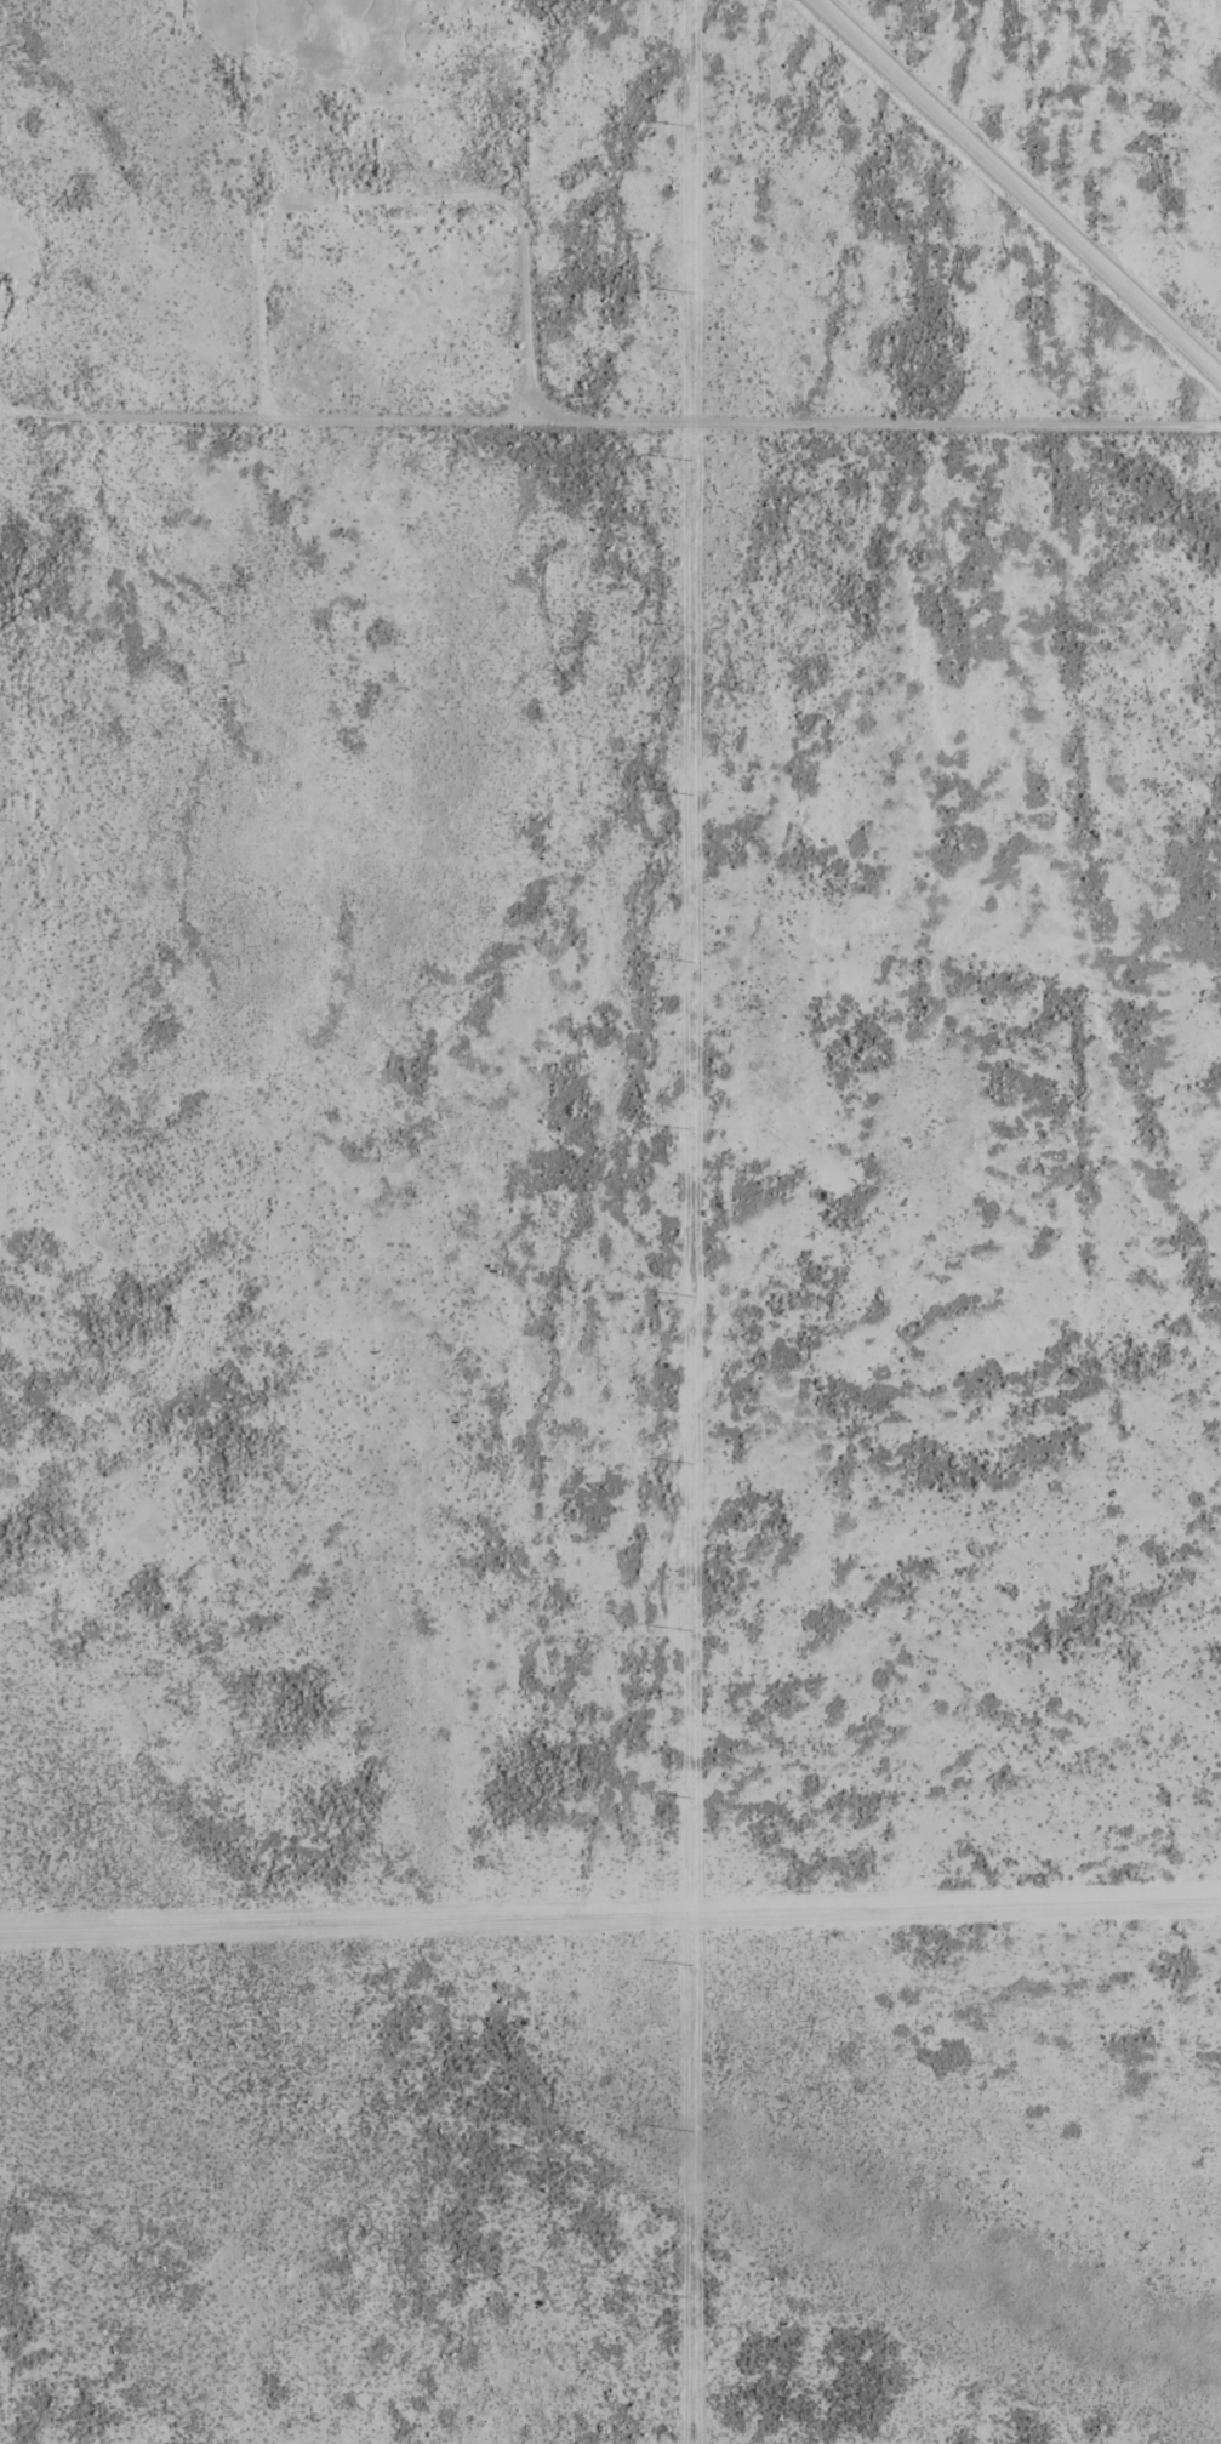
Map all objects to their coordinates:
road: (1015, 187)

